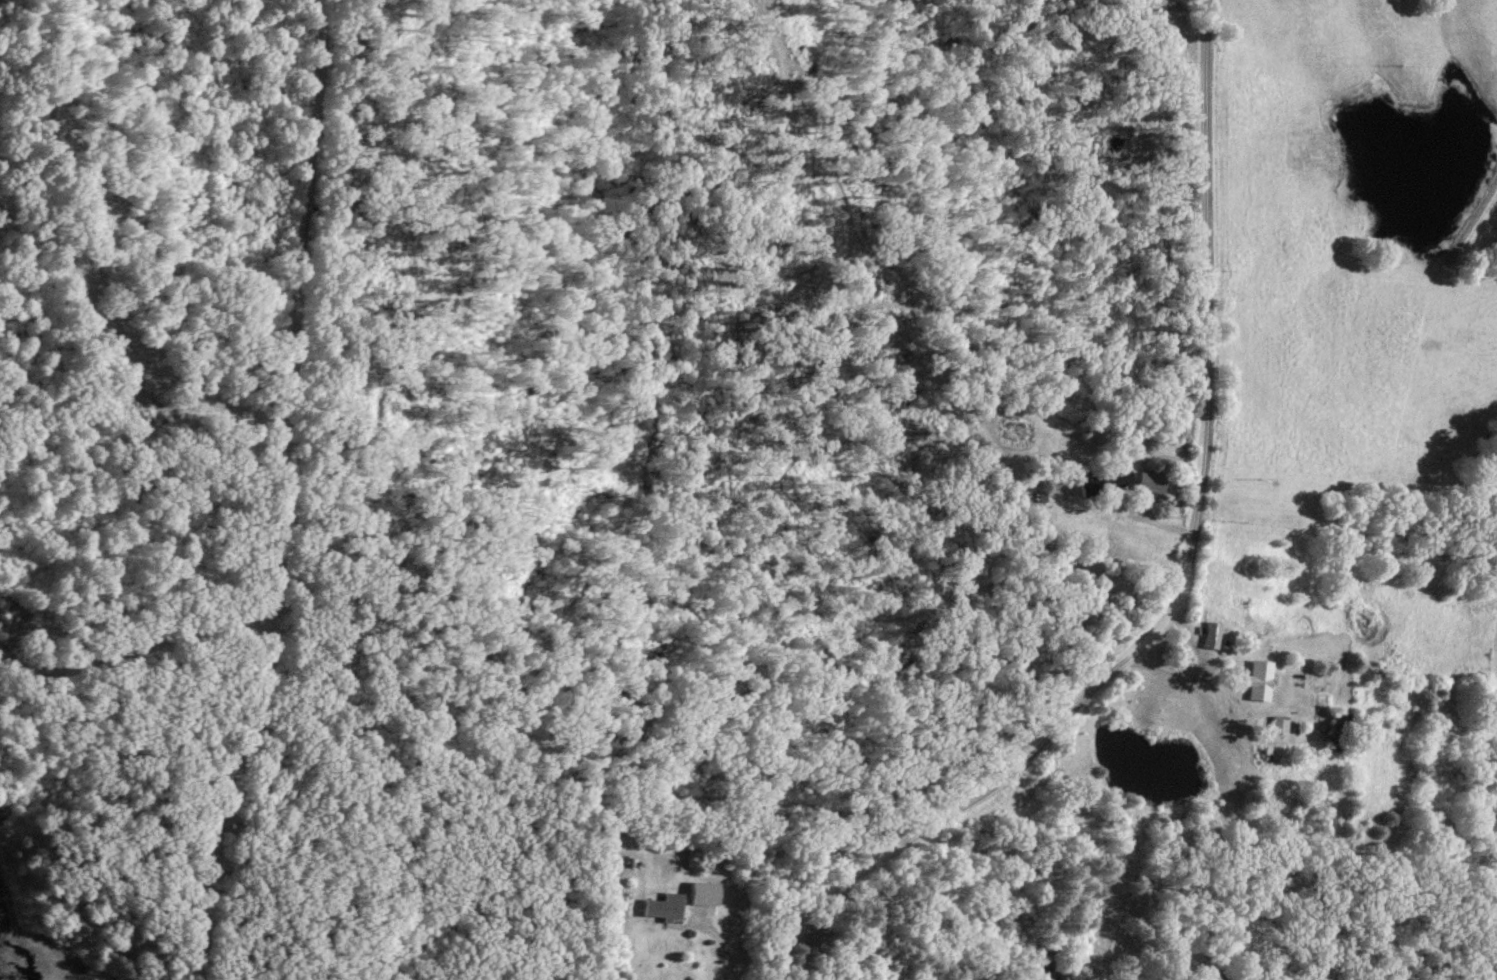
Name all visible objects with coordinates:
building: (1102, 480)
road: (1185, 580)
building: (1208, 635)
building: (1257, 680)
building: (1276, 724)
building: (1336, 731)
building: (703, 894)
building: (663, 907)
road: (721, 940)
building: (1211, 974)

